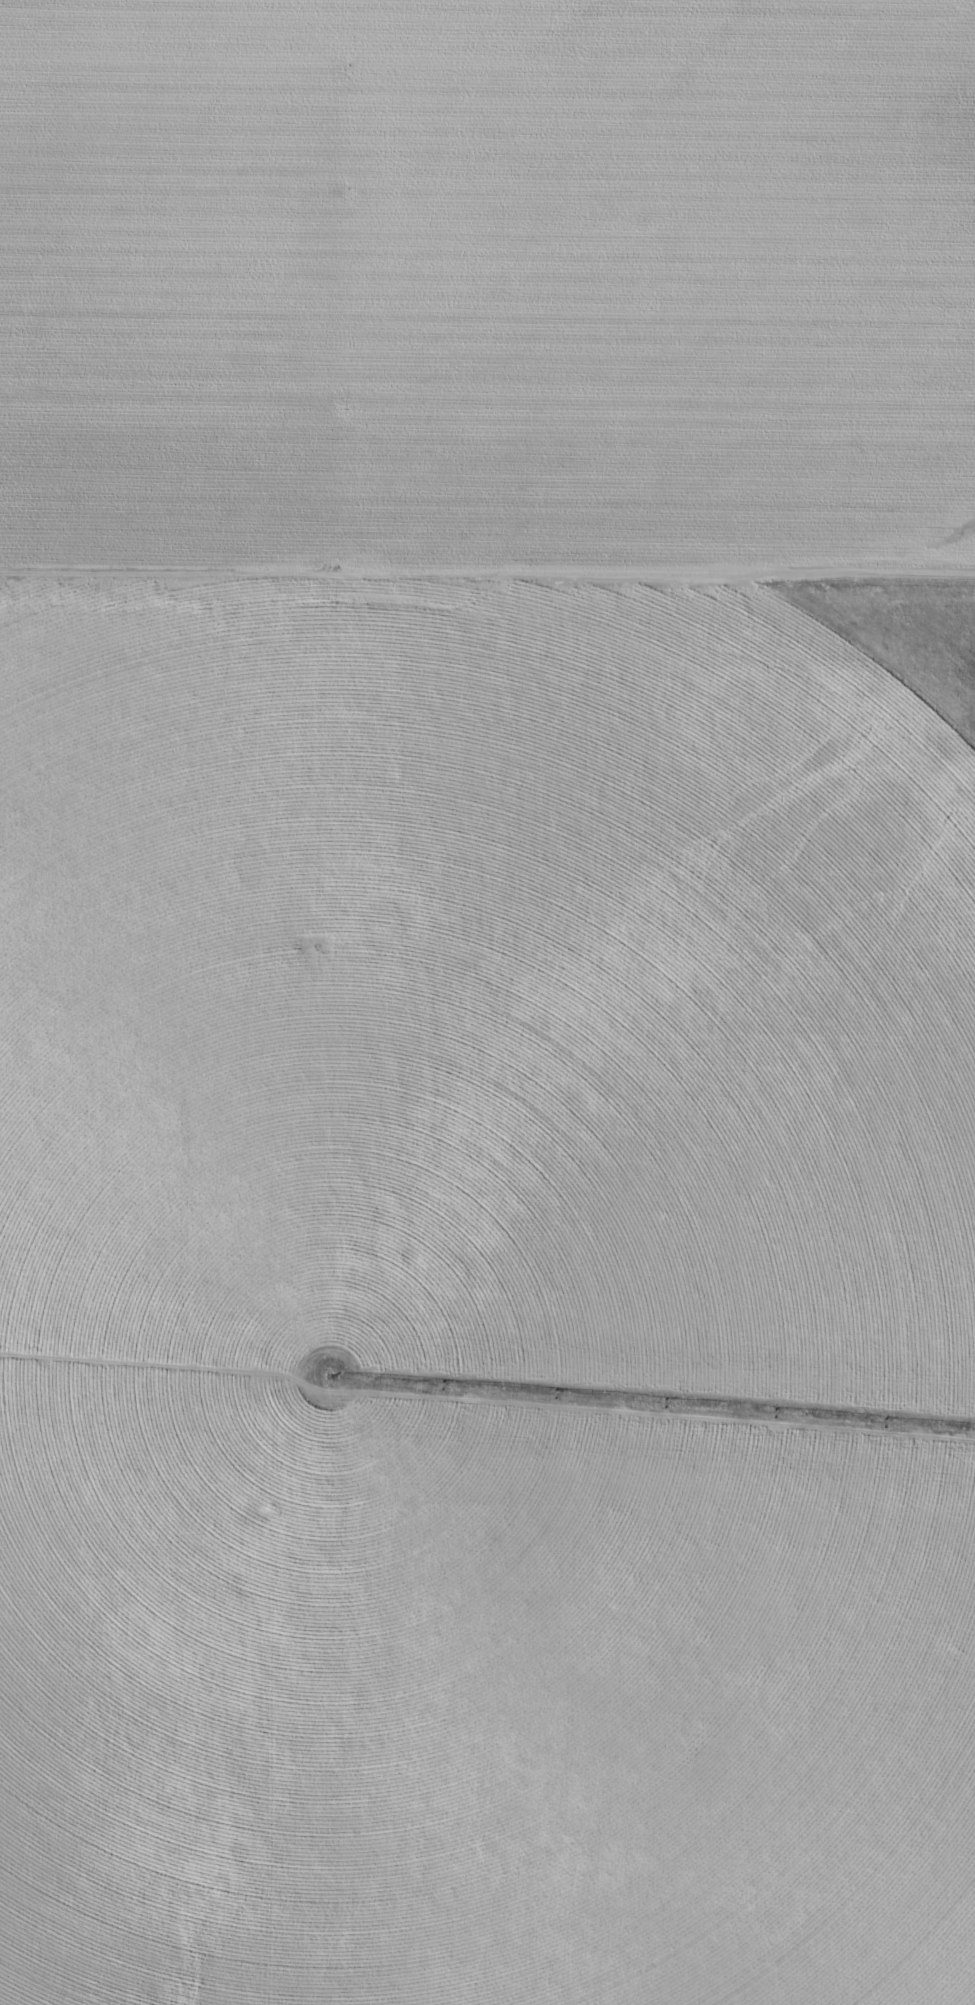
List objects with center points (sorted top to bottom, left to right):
road: (487, 572)

